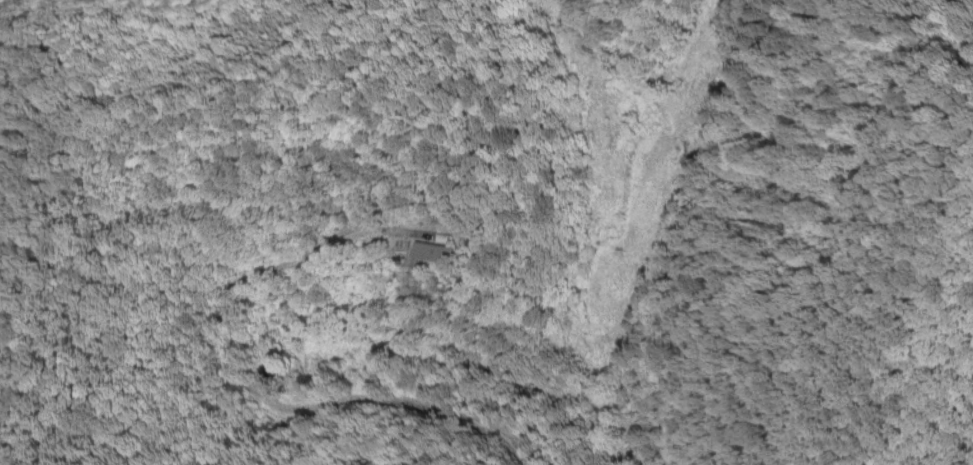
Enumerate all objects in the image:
building: (432, 236)
road: (243, 386)

